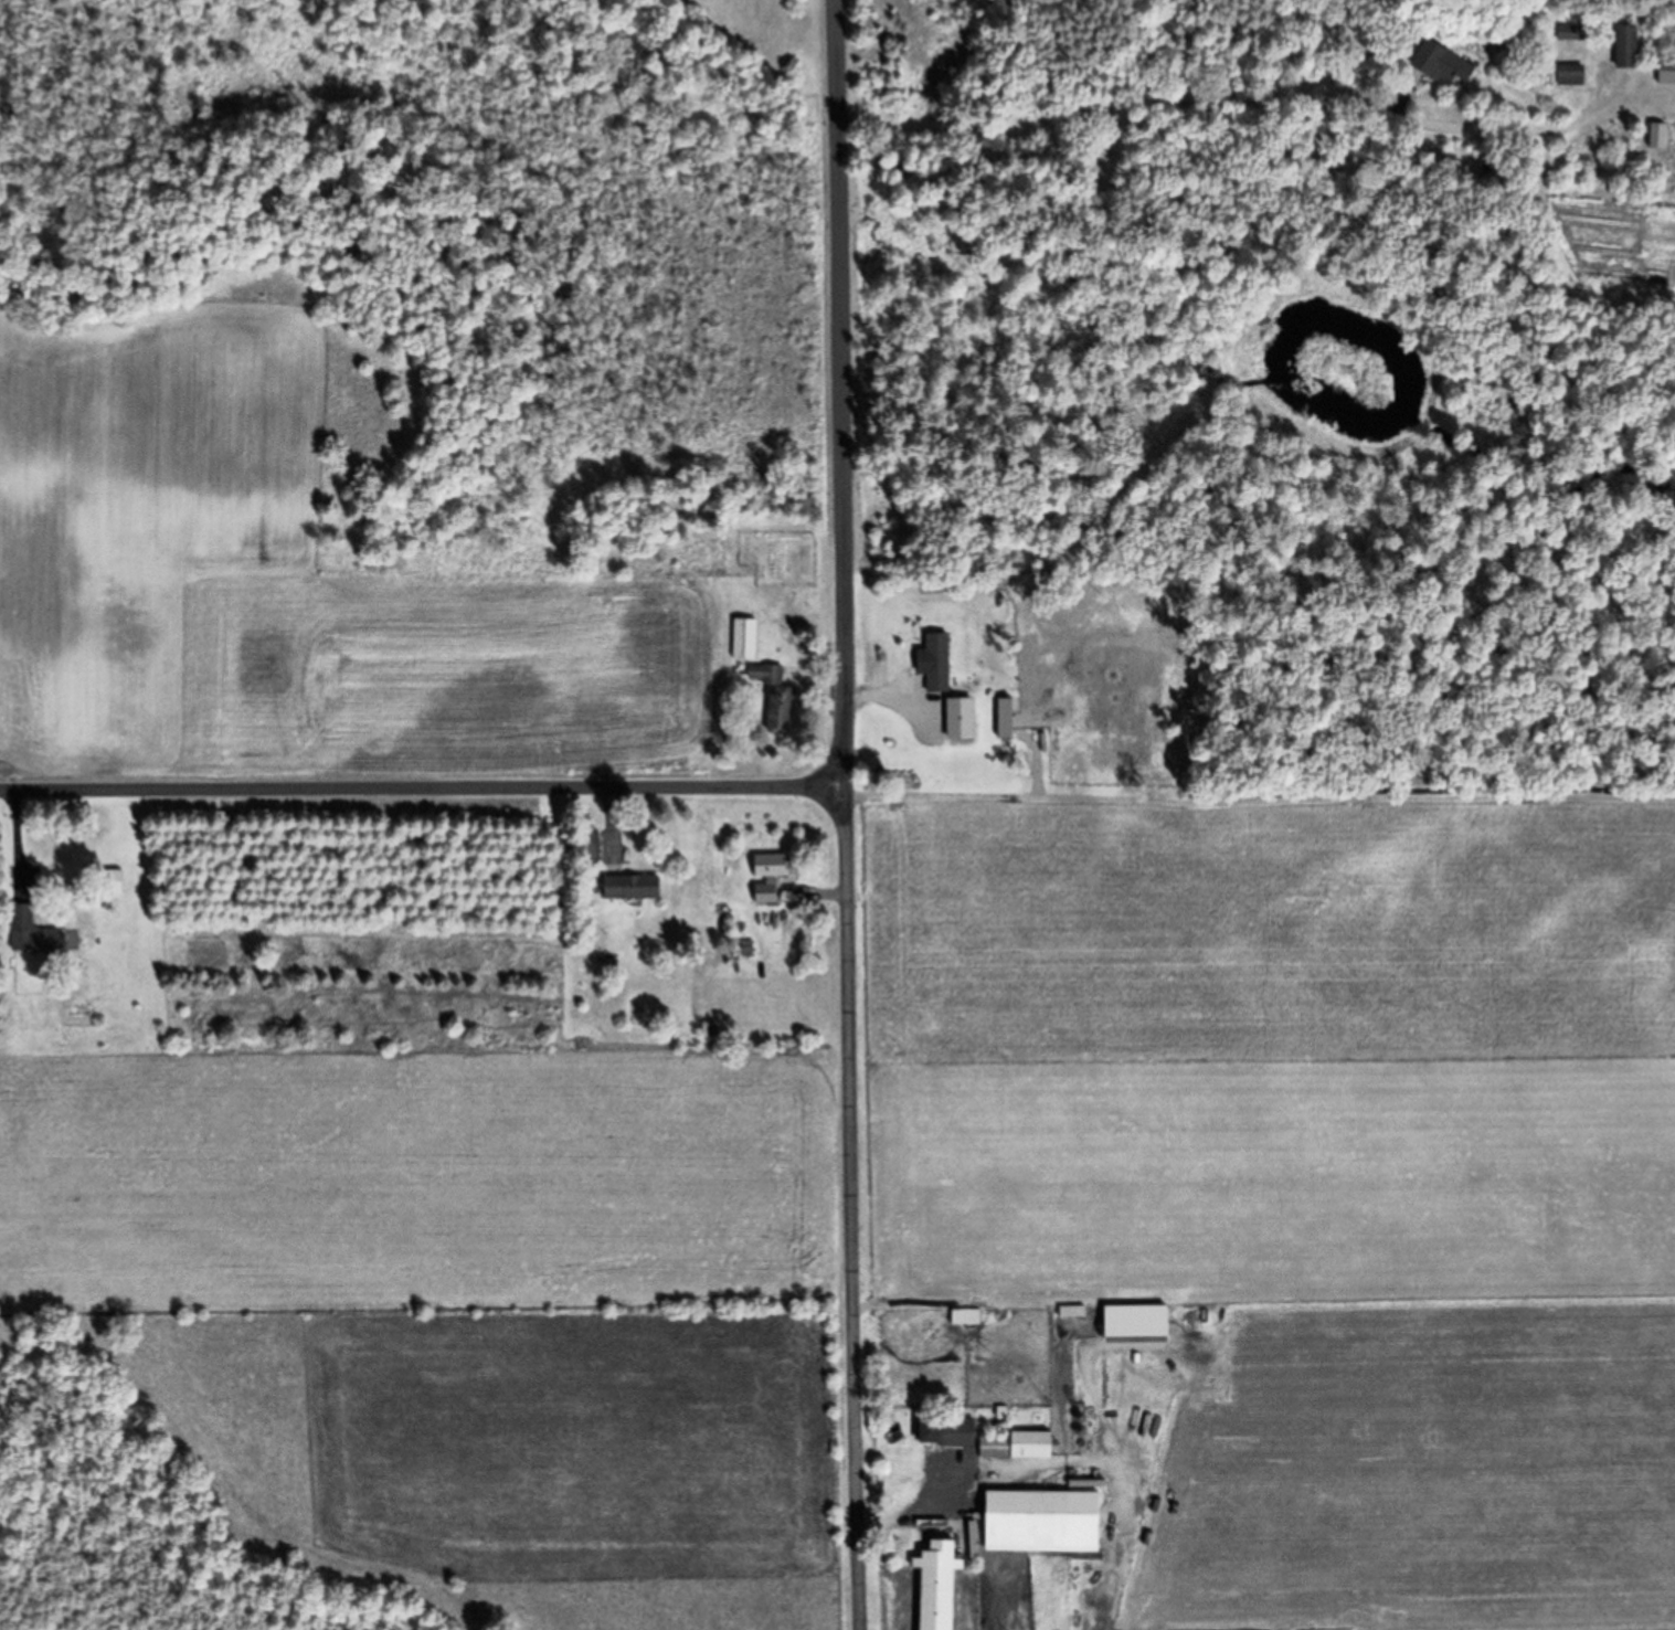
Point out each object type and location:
building: (1570, 33)
building: (1629, 46)
building: (1445, 63)
building: (1668, 71)
building: (1573, 75)
road: (837, 394)
building: (746, 639)
building: (940, 664)
building: (777, 698)
road: (422, 793)
building: (591, 847)
building: (771, 877)
building: (113, 882)
building: (634, 888)
building: (34, 933)
road: (850, 1209)
building: (1074, 1313)
road: (1090, 1380)
building: (950, 1431)
building: (1020, 1446)
road: (1031, 1469)
building: (1030, 1517)
building: (941, 1584)

